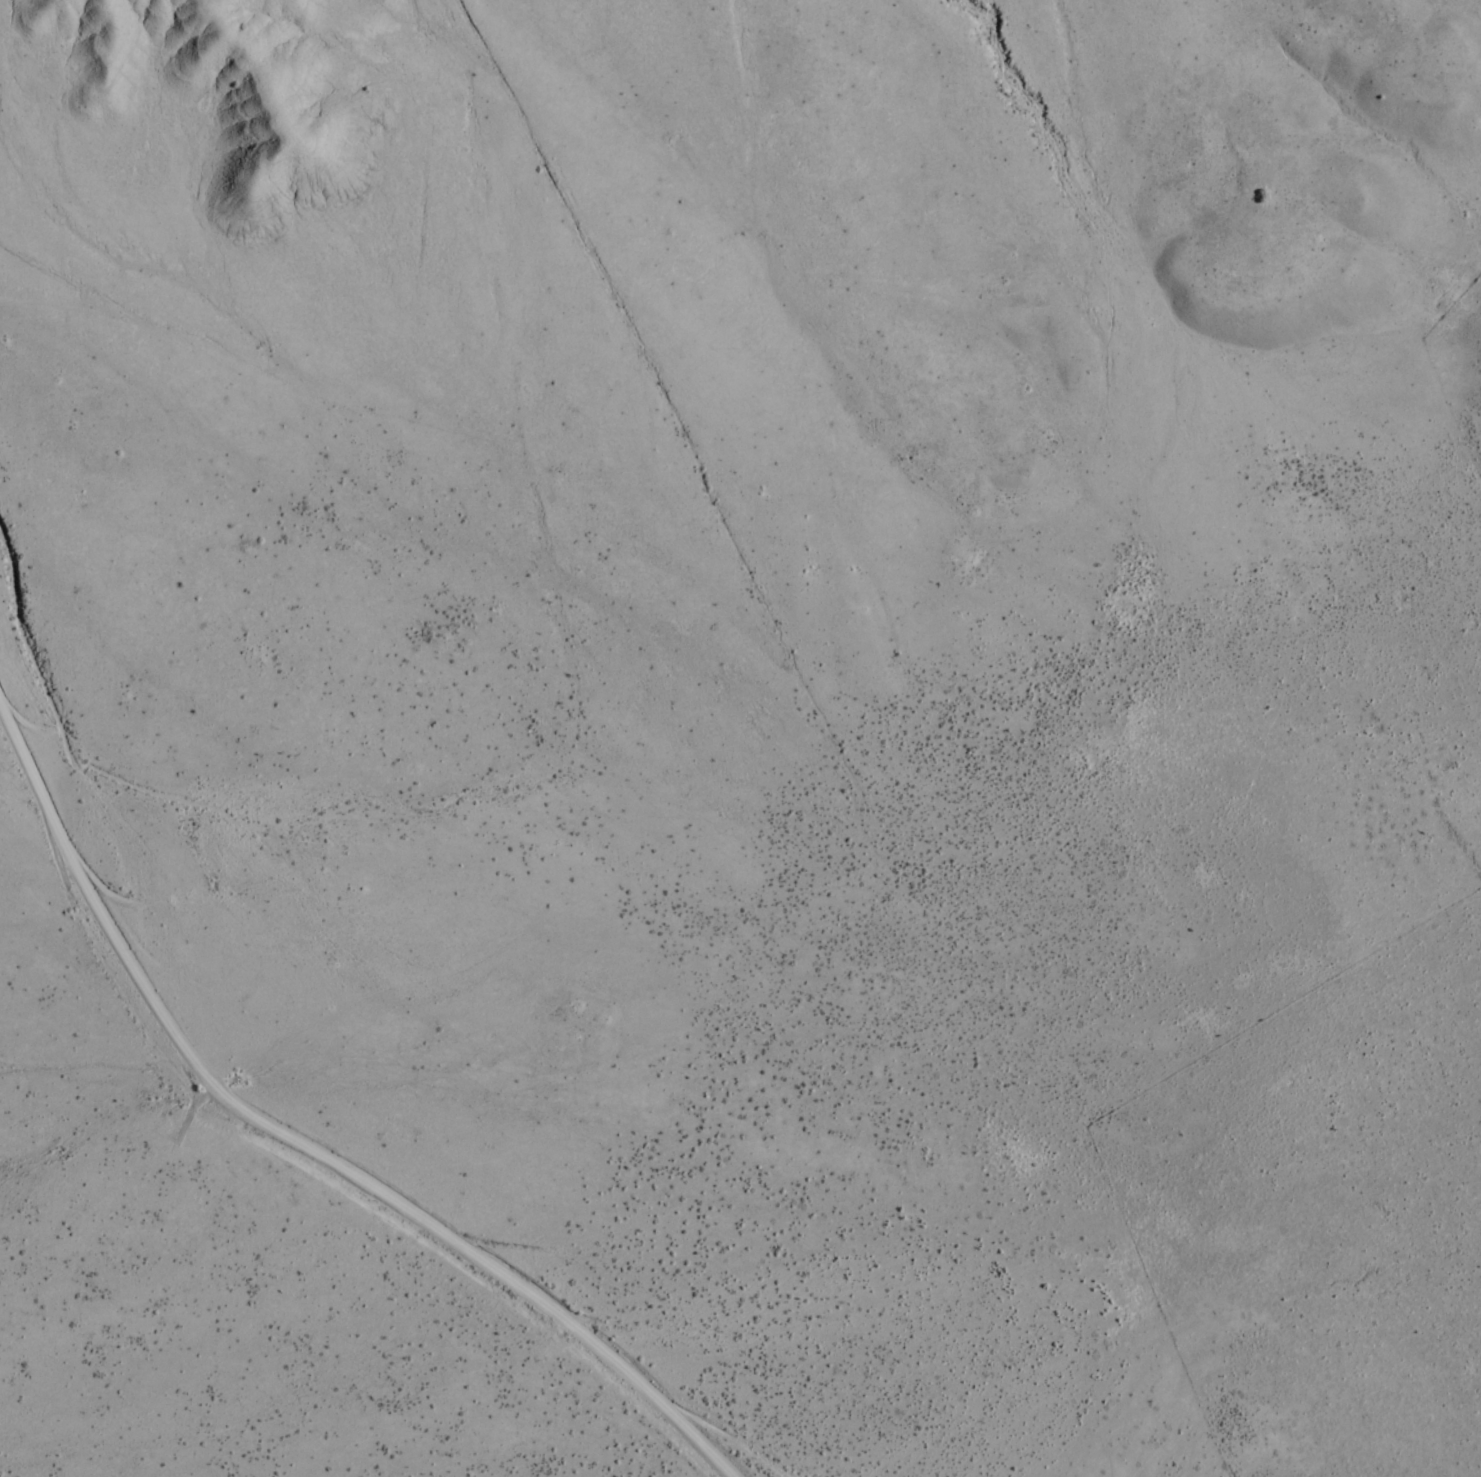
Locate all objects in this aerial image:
road: (303, 1144)

